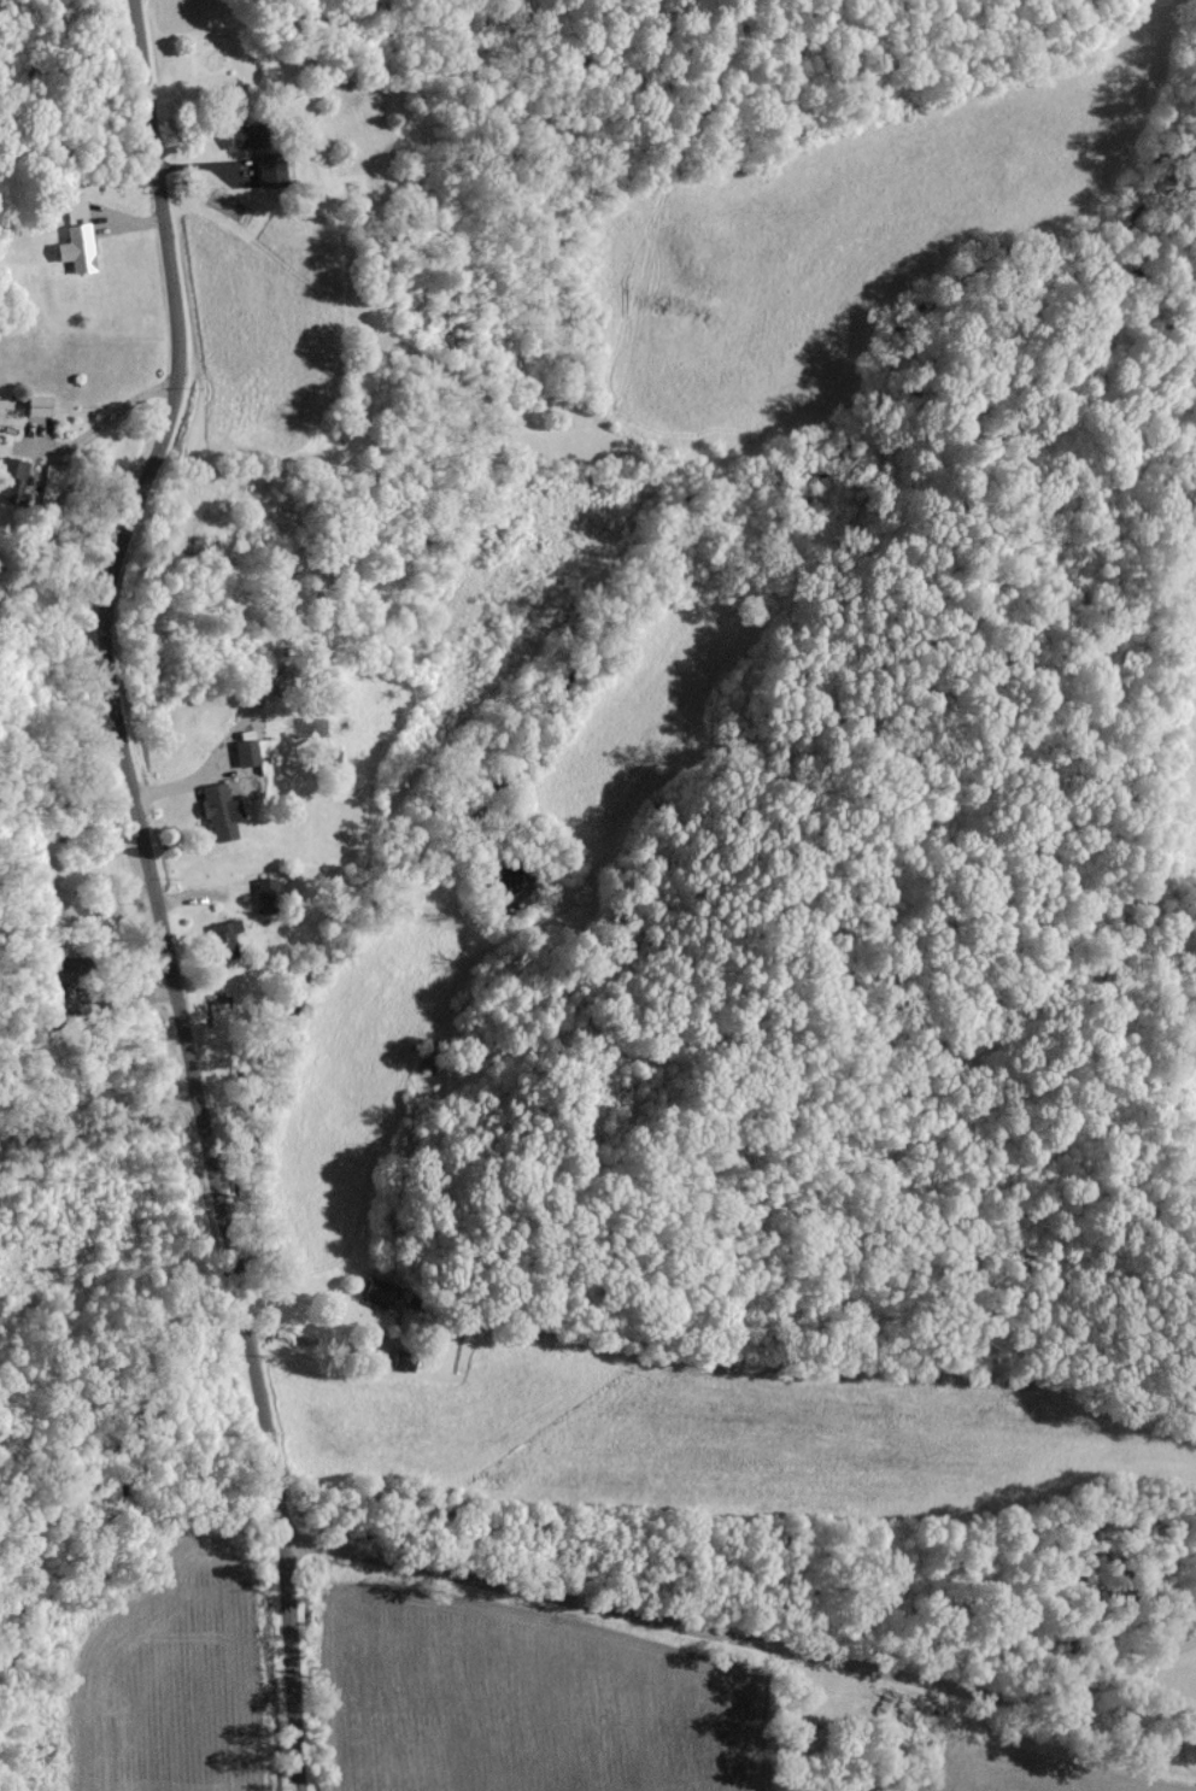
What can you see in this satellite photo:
building: (248, 134)
building: (271, 168)
building: (78, 247)
building: (39, 404)
road: (107, 416)
building: (14, 478)
road: (59, 503)
building: (253, 752)
building: (221, 810)
road: (153, 891)
building: (268, 893)
building: (224, 938)
building: (380, 1291)
road: (755, 1737)

